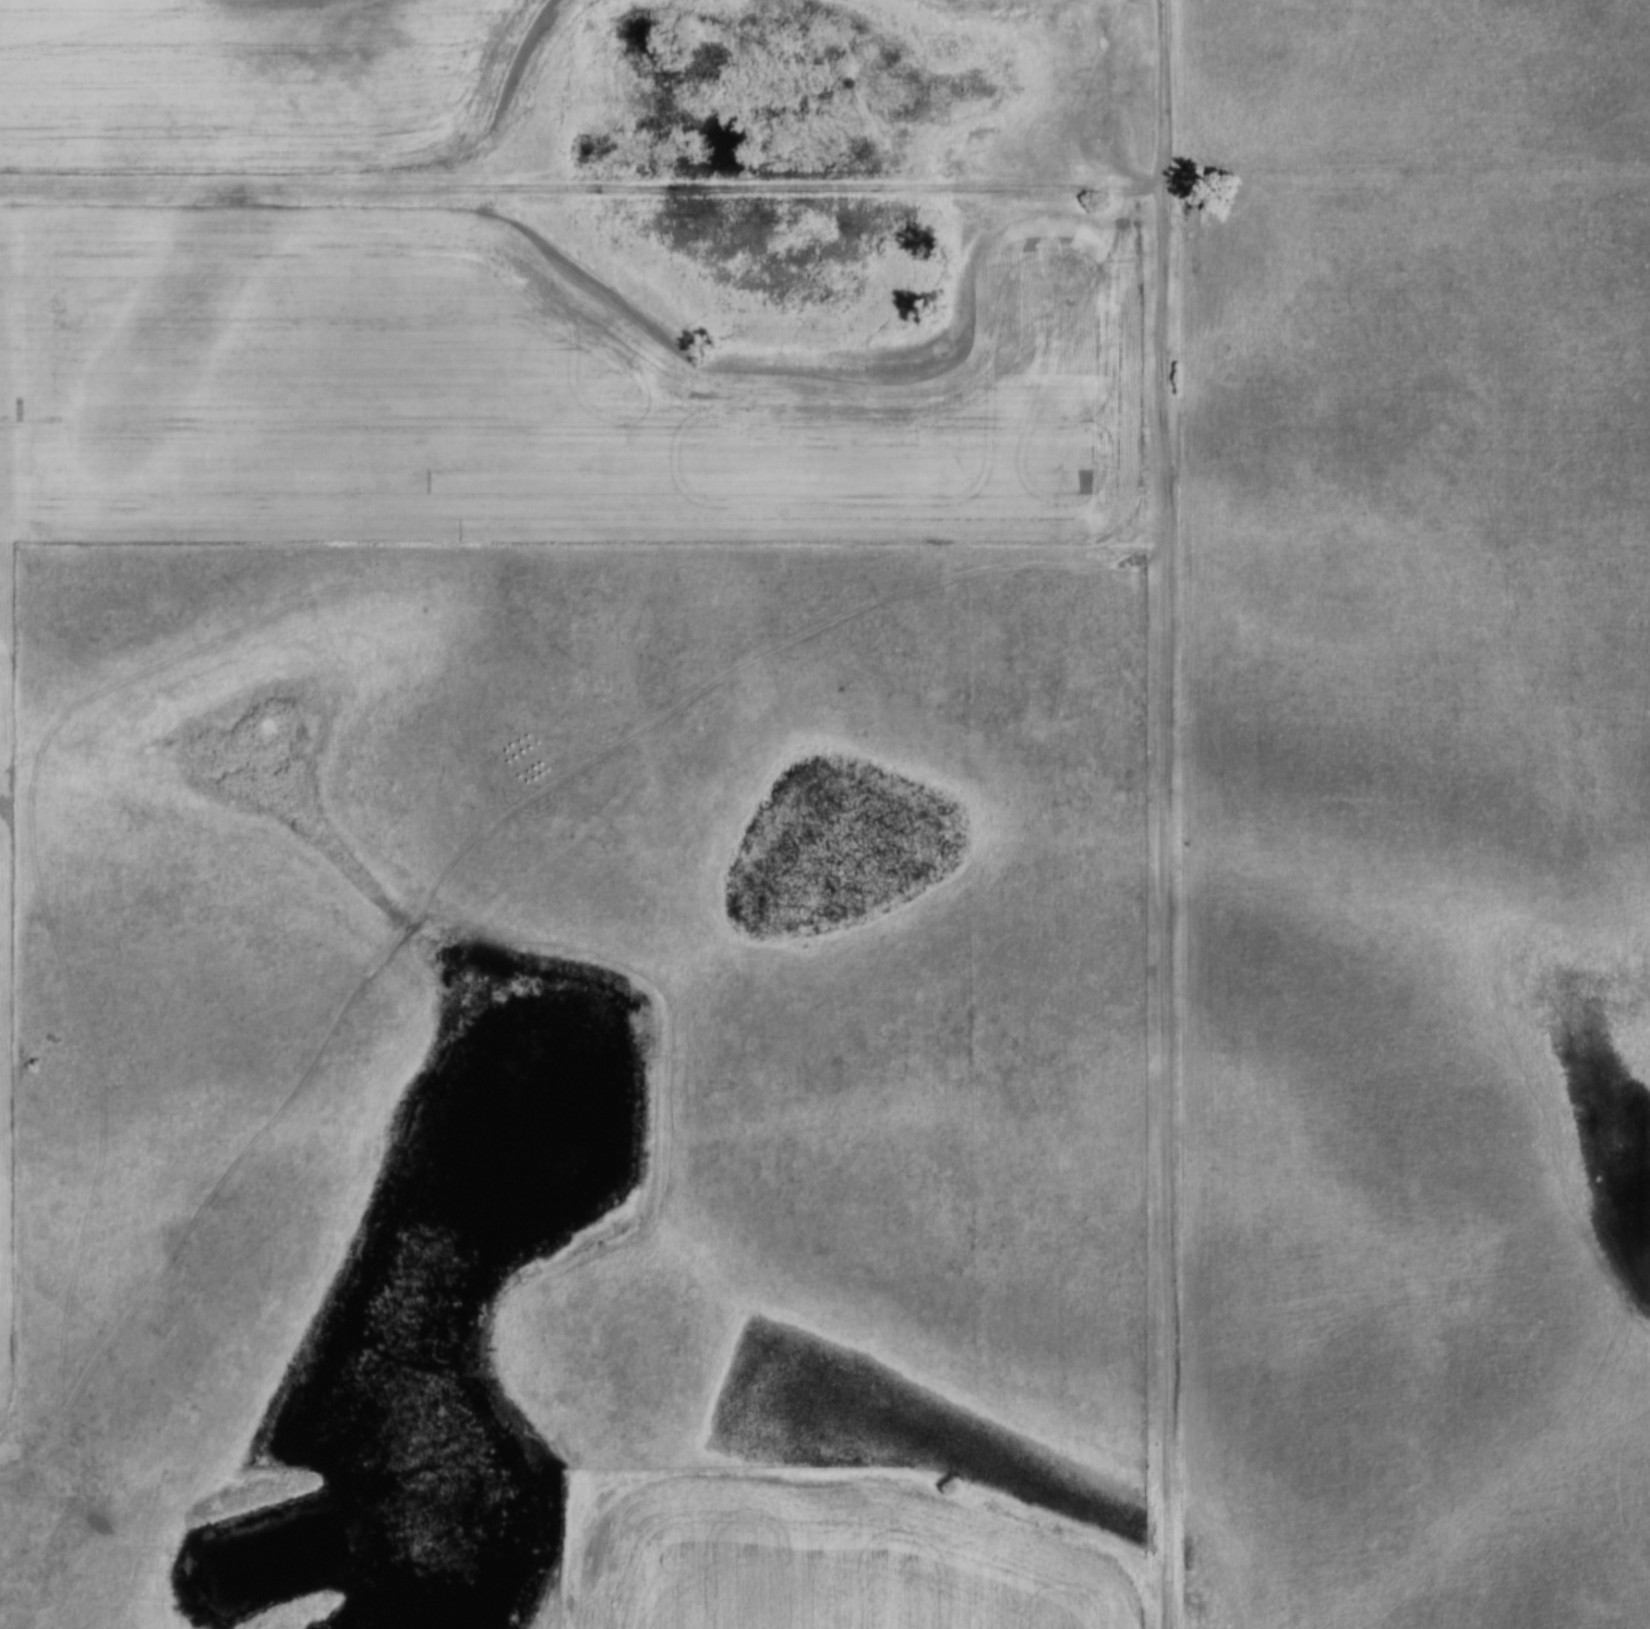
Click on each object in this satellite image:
road: (582, 188)
road: (1166, 813)

